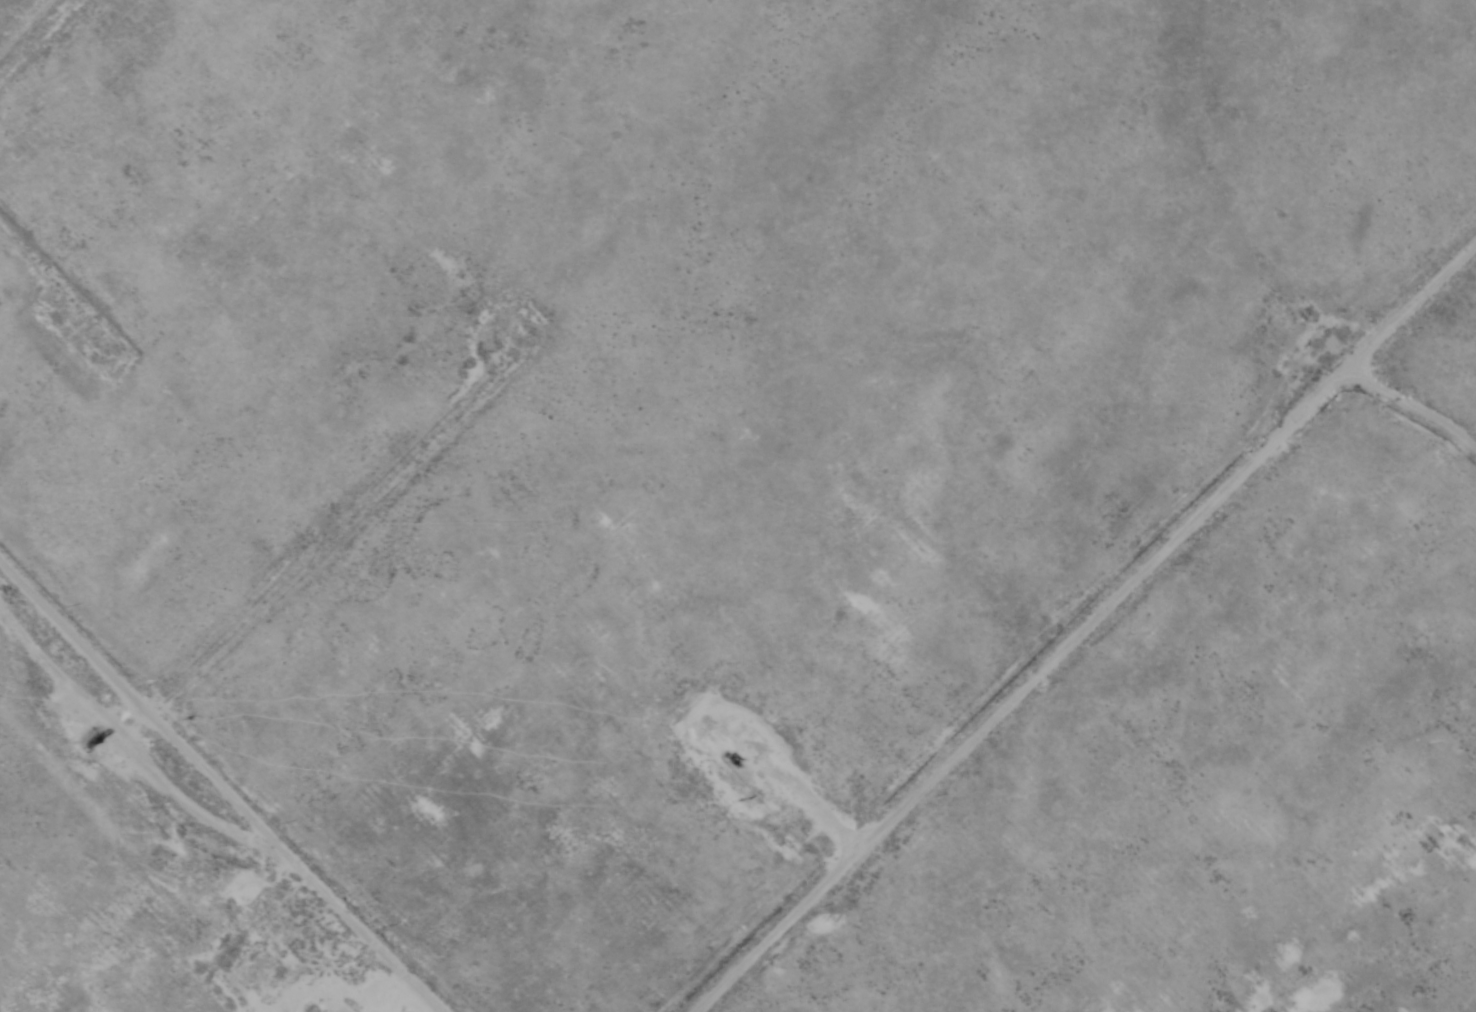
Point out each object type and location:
road: (24, 24)
road: (1415, 302)
road: (258, 609)
road: (1070, 630)
road: (292, 866)

